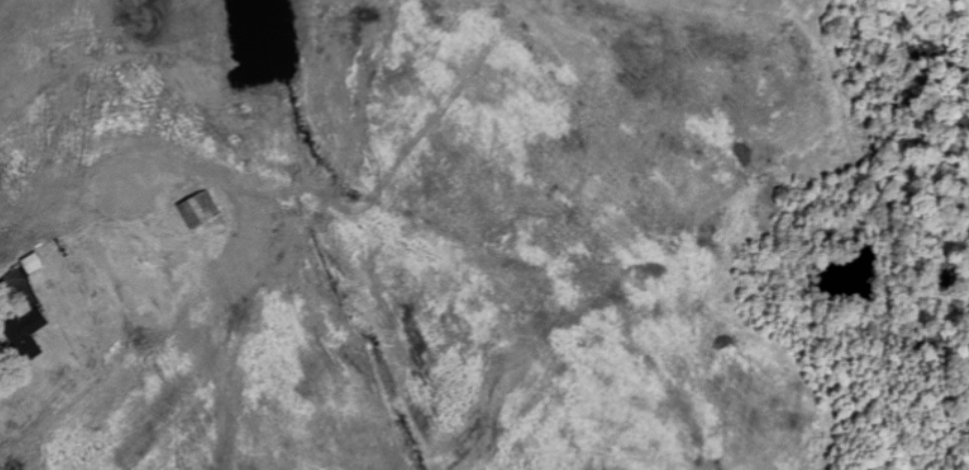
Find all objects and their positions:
building: (197, 208)
building: (25, 332)

